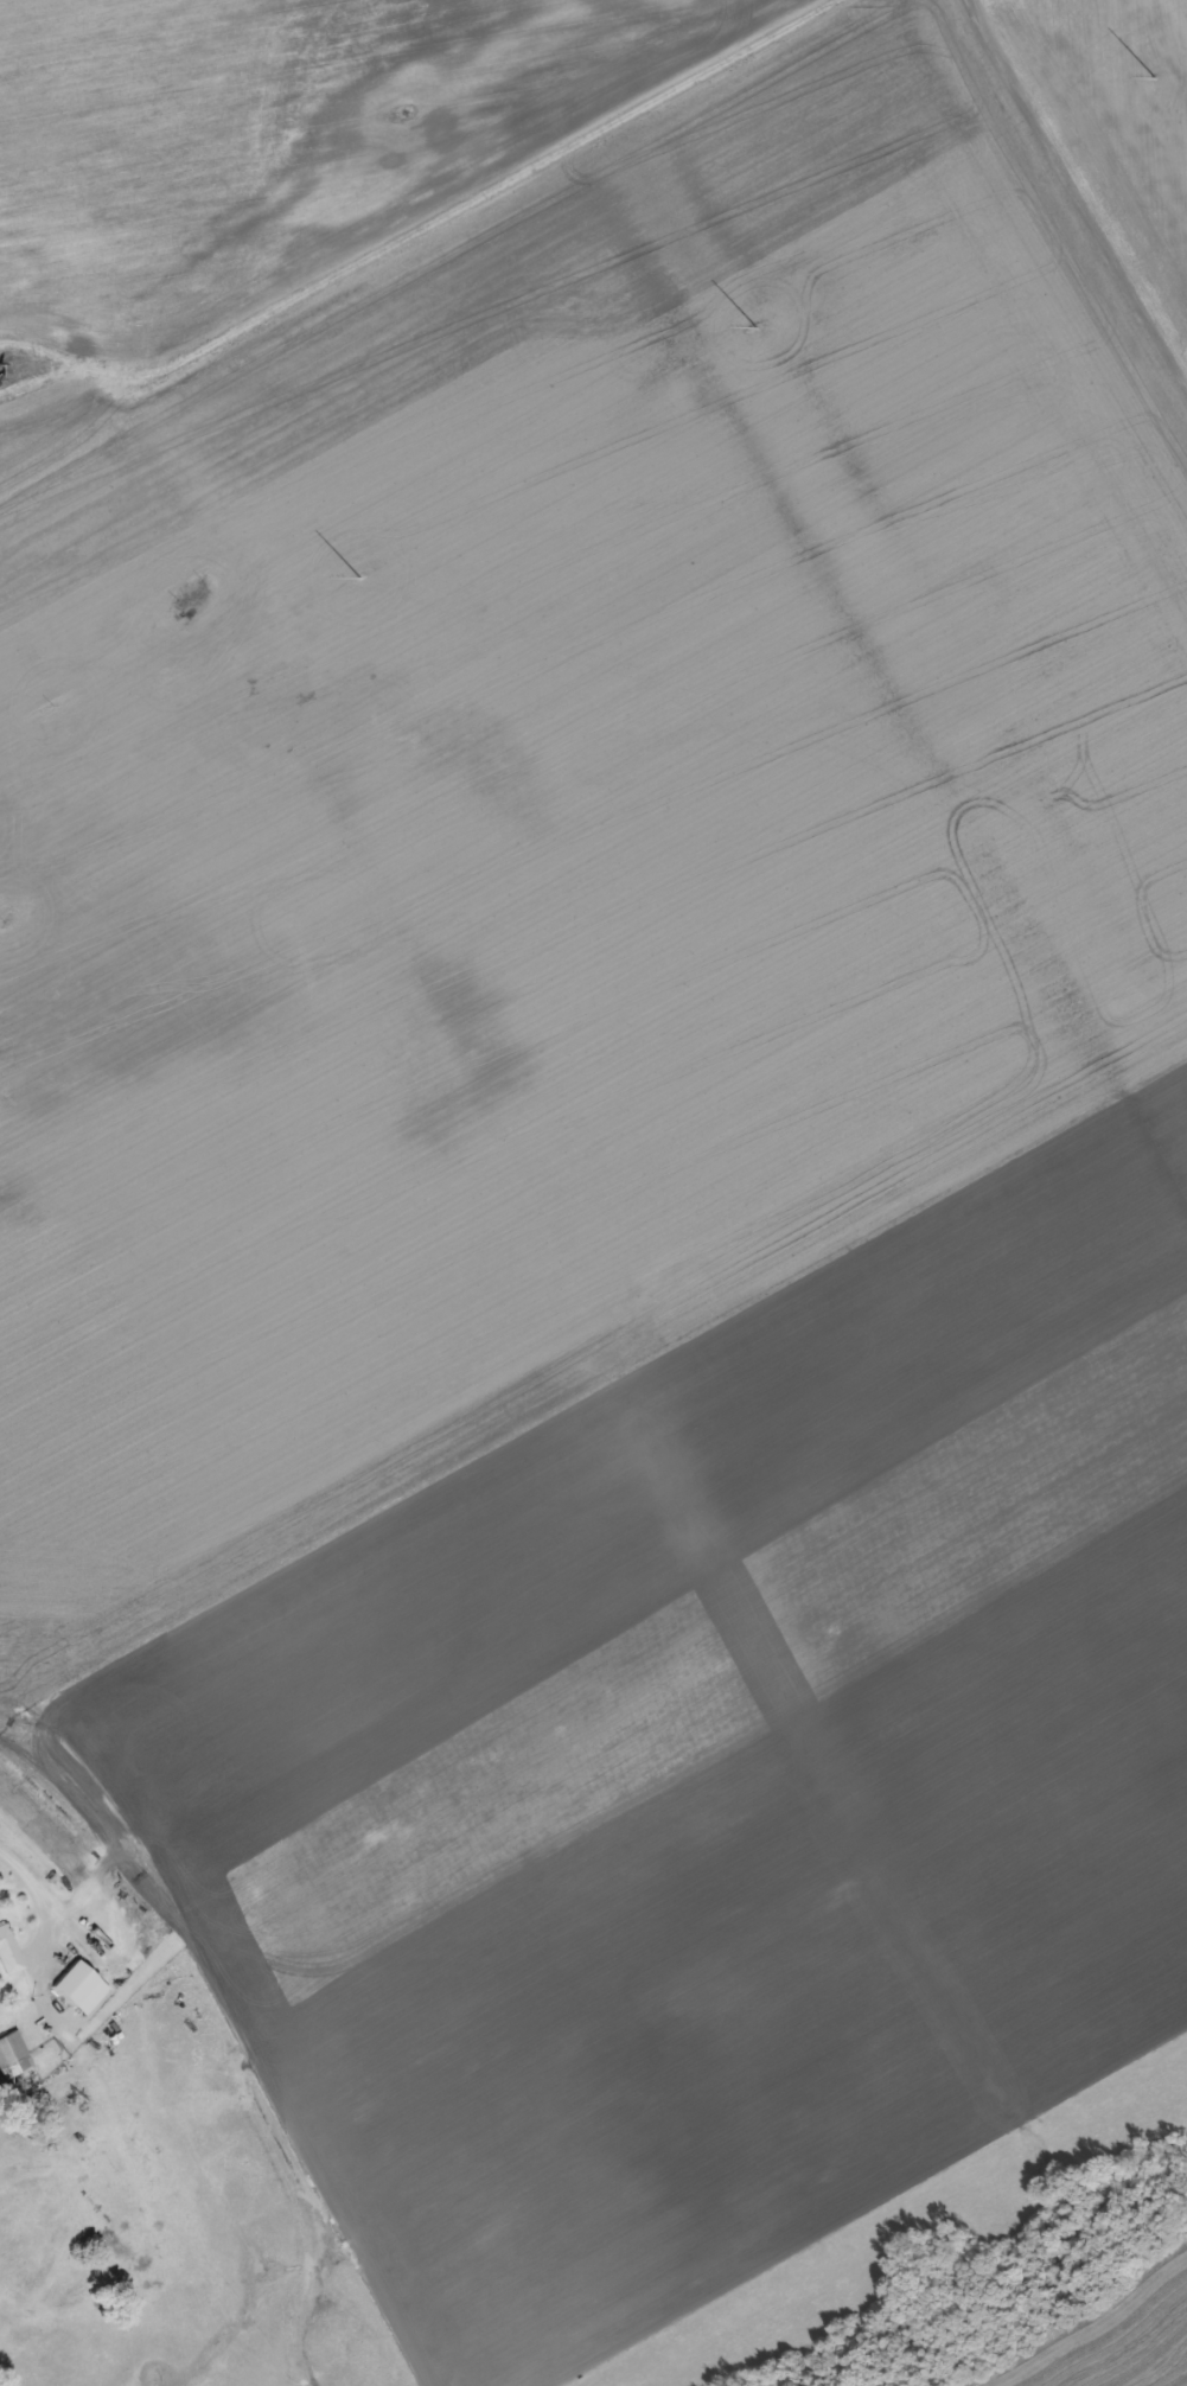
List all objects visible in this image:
road: (26, 1869)
building: (7, 1954)
building: (75, 1988)
building: (8, 2048)

